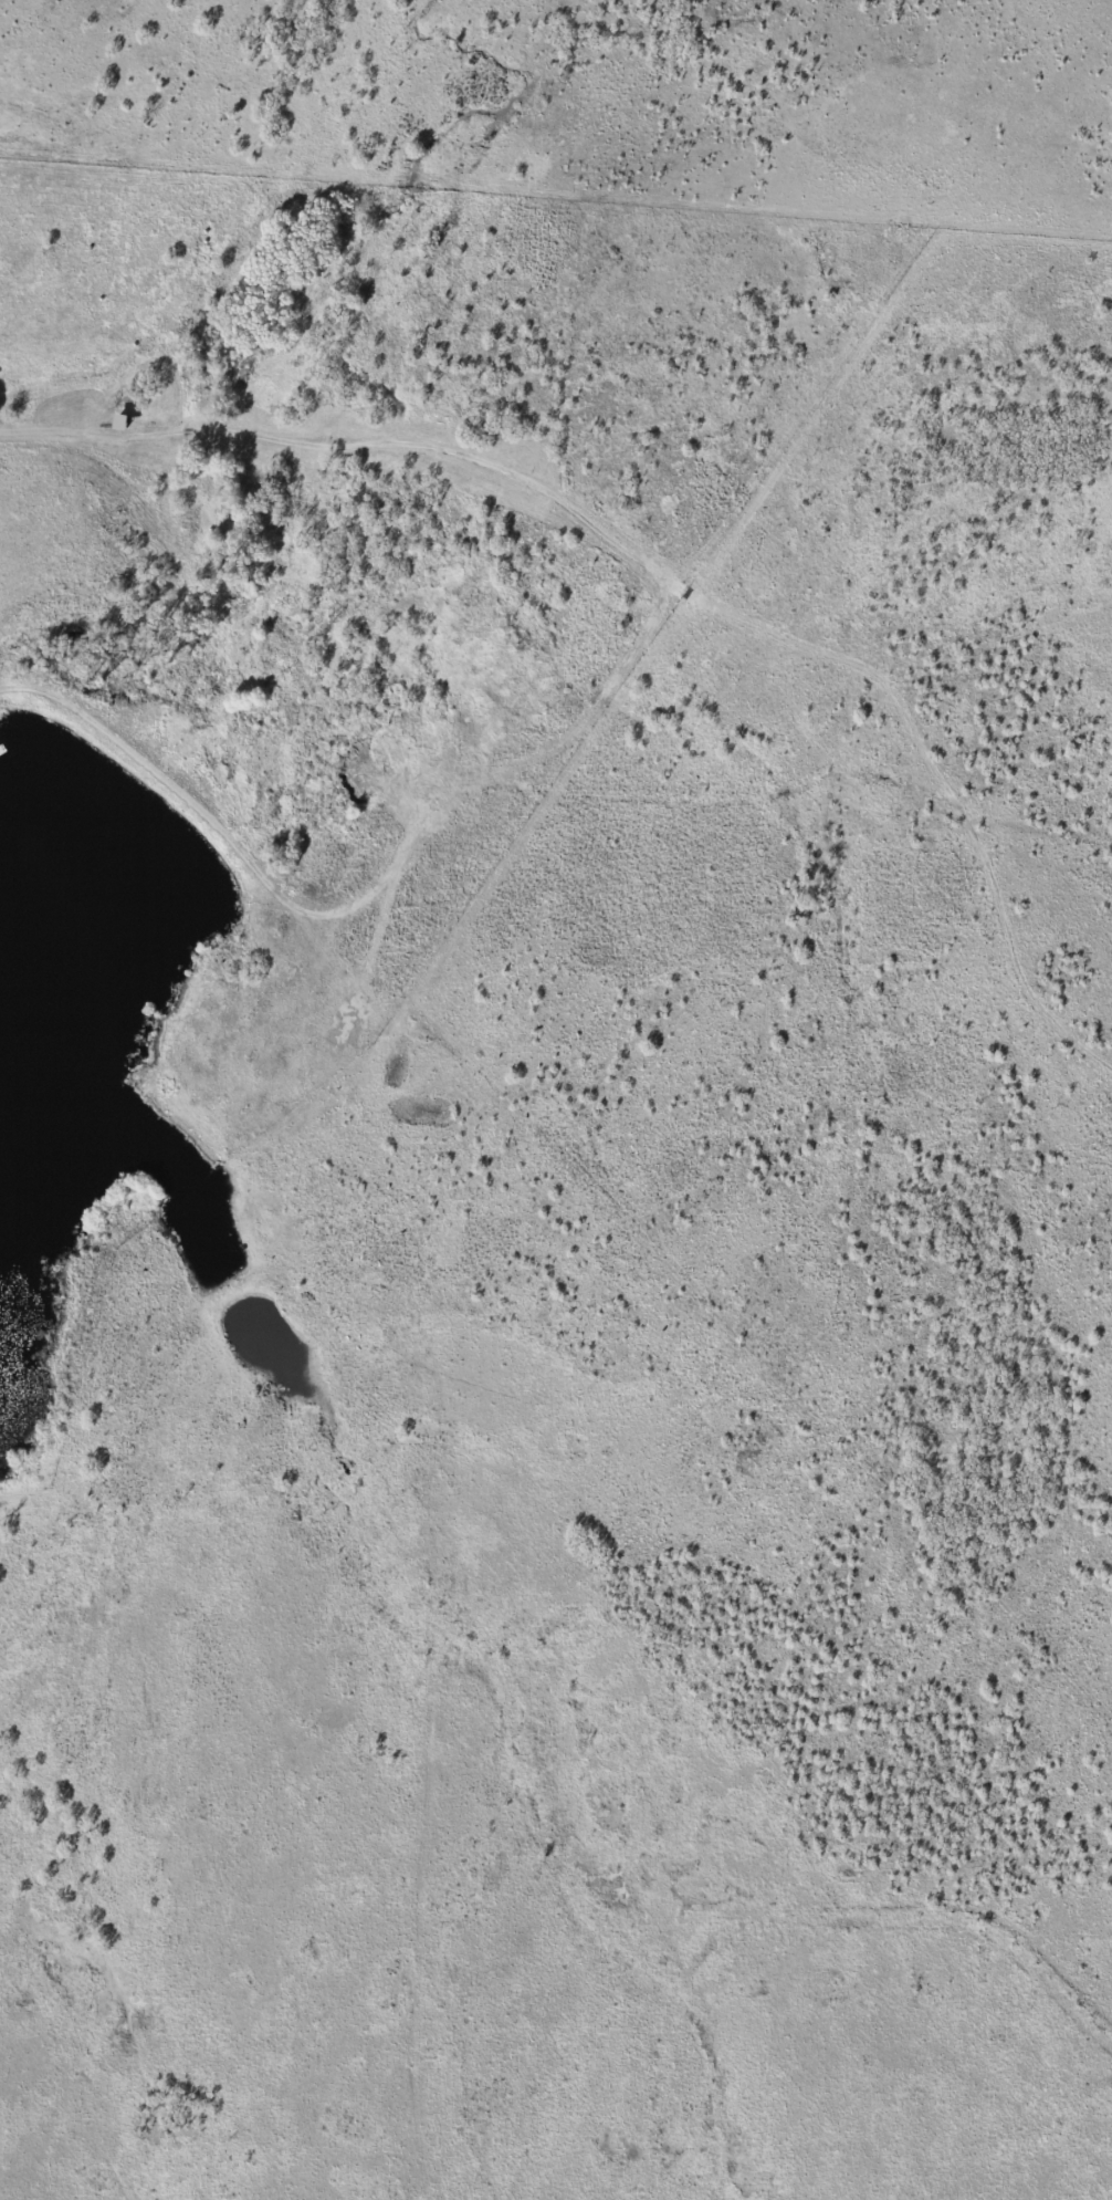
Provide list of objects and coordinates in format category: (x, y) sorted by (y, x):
road: (273, 509)
road: (590, 1155)

